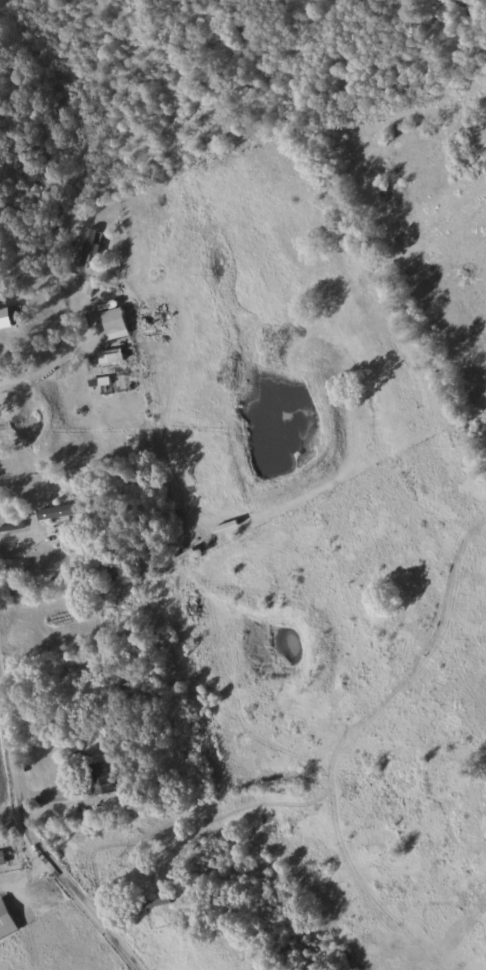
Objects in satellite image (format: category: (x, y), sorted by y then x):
building: (89, 247)
building: (88, 288)
building: (5, 319)
building: (114, 322)
road: (70, 353)
building: (108, 357)
building: (60, 511)
building: (101, 778)
road: (31, 838)
building: (2, 858)
building: (6, 921)

